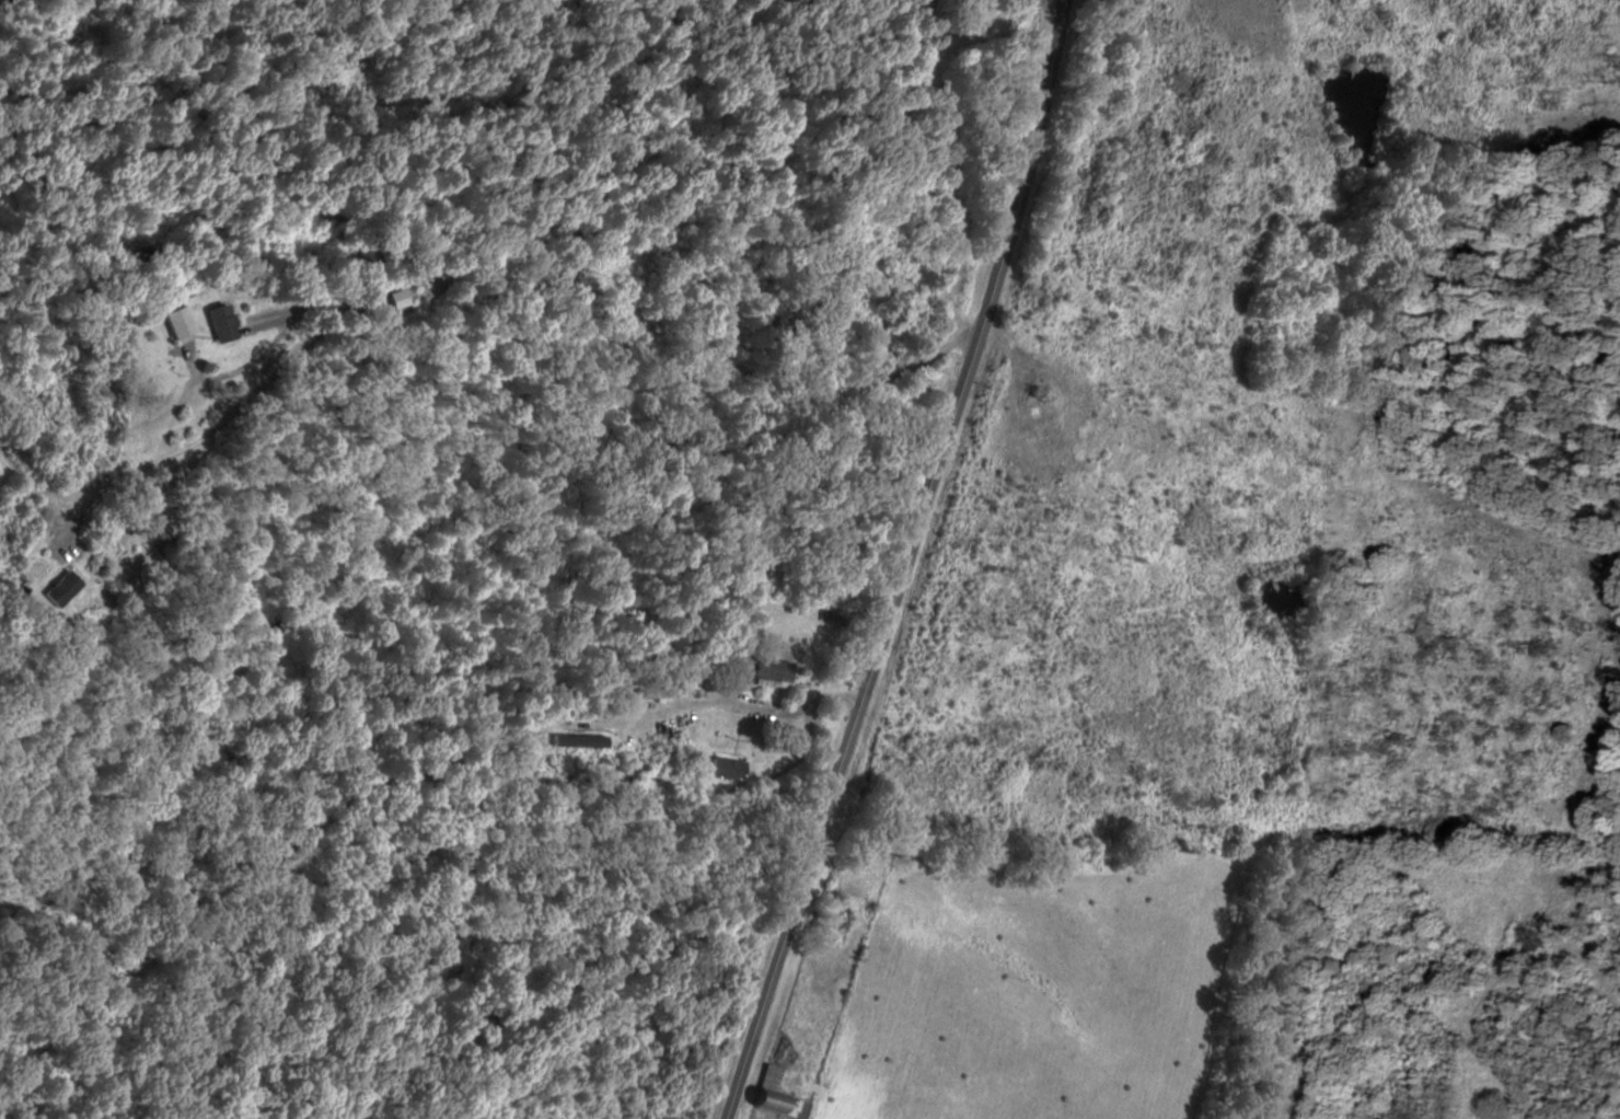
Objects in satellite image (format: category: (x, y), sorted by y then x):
building: (227, 322)
building: (184, 323)
road: (533, 334)
road: (904, 563)
building: (66, 588)
building: (776, 673)
building: (730, 769)
building: (785, 1096)

